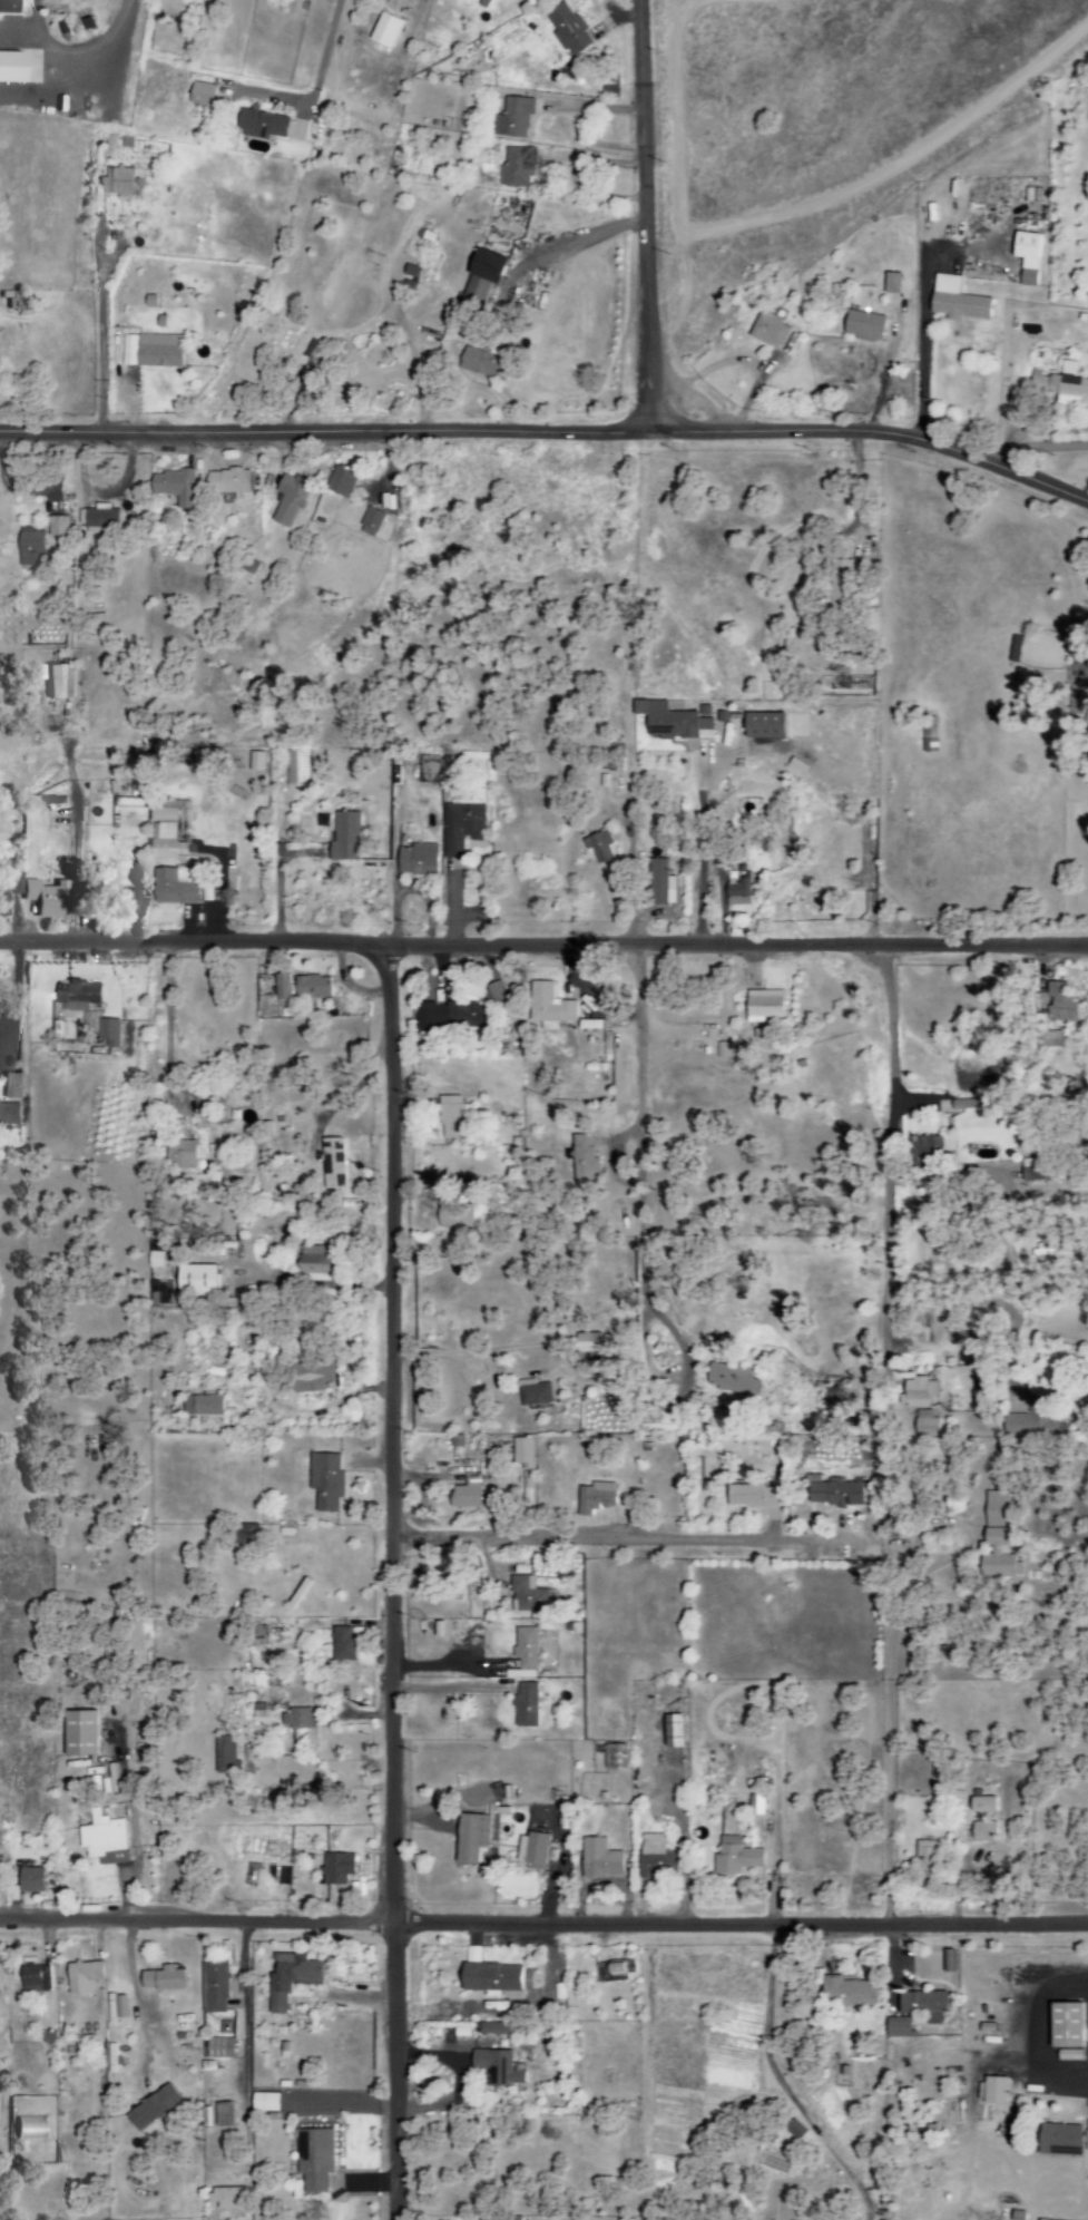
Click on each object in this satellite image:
building: (7, 7)
building: (567, 30)
building: (384, 32)
road: (79, 51)
road: (322, 58)
building: (10, 68)
building: (199, 95)
building: (512, 119)
building: (259, 125)
building: (516, 169)
building: (118, 185)
road: (645, 217)
building: (1026, 258)
building: (488, 276)
building: (891, 284)
building: (954, 301)
road: (99, 319)
building: (870, 326)
building: (773, 330)
building: (155, 351)
building: (488, 362)
building: (1061, 384)
road: (549, 434)
road: (1038, 448)
building: (233, 481)
building: (343, 482)
building: (179, 487)
road: (856, 493)
building: (292, 500)
building: (101, 518)
building: (375, 519)
building: (61, 526)
building: (36, 548)
building: (61, 683)
building: (695, 710)
building: (676, 723)
building: (771, 726)
building: (928, 735)
building: (257, 762)
building: (297, 769)
building: (55, 796)
building: (171, 813)
building: (463, 828)
building: (349, 839)
building: (171, 842)
building: (604, 847)
road: (697, 857)
building: (419, 860)
building: (664, 883)
building: (179, 887)
building: (13, 889)
building: (742, 893)
building: (51, 899)
building: (129, 900)
road: (543, 946)
building: (276, 987)
building: (317, 988)
building: (80, 996)
building: (1057, 1005)
building: (770, 1006)
building: (552, 1007)
building: (450, 1017)
road: (166, 1026)
building: (111, 1033)
building: (16, 1086)
building: (11, 1116)
building: (454, 1116)
road: (889, 1146)
road: (666, 1153)
building: (925, 1153)
building: (189, 1156)
building: (588, 1158)
building: (335, 1164)
building: (458, 1212)
building: (158, 1260)
building: (318, 1264)
building: (204, 1281)
building: (592, 1348)
building: (317, 1378)
building: (731, 1379)
building: (536, 1393)
building: (921, 1393)
building: (206, 1407)
building: (1035, 1421)
building: (677, 1425)
building: (928, 1428)
building: (527, 1454)
building: (329, 1481)
building: (527, 1486)
building: (837, 1495)
building: (757, 1497)
building: (600, 1498)
building: (994, 1507)
road: (608, 1527)
building: (248, 1535)
building: (997, 1557)
road: (393, 1582)
building: (530, 1596)
building: (263, 1636)
building: (345, 1644)
building: (529, 1650)
building: (529, 1705)
building: (300, 1720)
road: (883, 1720)
building: (679, 1732)
building: (87, 1734)
building: (228, 1756)
building: (619, 1758)
building: (758, 1807)
road: (771, 1832)
building: (982, 1832)
building: (105, 1836)
building: (473, 1840)
building: (536, 1851)
building: (657, 1858)
building: (738, 1858)
building: (602, 1860)
building: (924, 1864)
building: (341, 1869)
building: (253, 1875)
building: (283, 1877)
building: (35, 1880)
road: (543, 1926)
building: (947, 1960)
building: (618, 1973)
building: (87, 1978)
building: (497, 1978)
building: (40, 1979)
building: (167, 1981)
building: (294, 1981)
building: (217, 1987)
building: (846, 1993)
building: (922, 2005)
building: (1065, 2025)
building: (895, 2027)
building: (497, 2030)
building: (223, 2050)
building: (1069, 2055)
building: (501, 2069)
building: (994, 2091)
building: (272, 2103)
building: (158, 2109)
building: (227, 2116)
building: (1086, 2136)
building: (1058, 2140)
building: (318, 2161)
building: (232, 2199)

